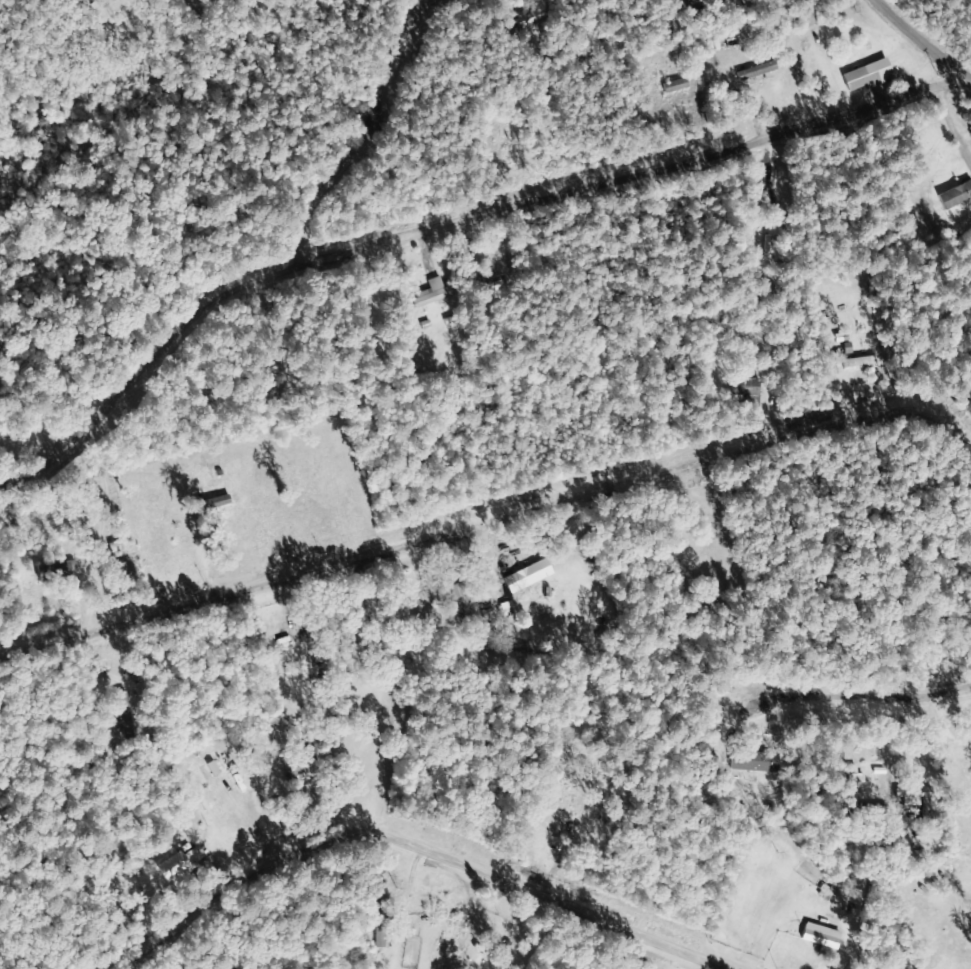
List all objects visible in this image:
building: (809, 20)
road: (932, 30)
building: (759, 71)
building: (870, 76)
building: (677, 87)
road: (654, 184)
building: (957, 196)
building: (492, 283)
road: (277, 288)
building: (435, 293)
road: (477, 555)
building: (529, 576)
building: (128, 716)
road: (928, 744)
building: (756, 762)
building: (855, 785)
building: (912, 794)
building: (181, 866)
road: (445, 889)
building: (824, 934)

